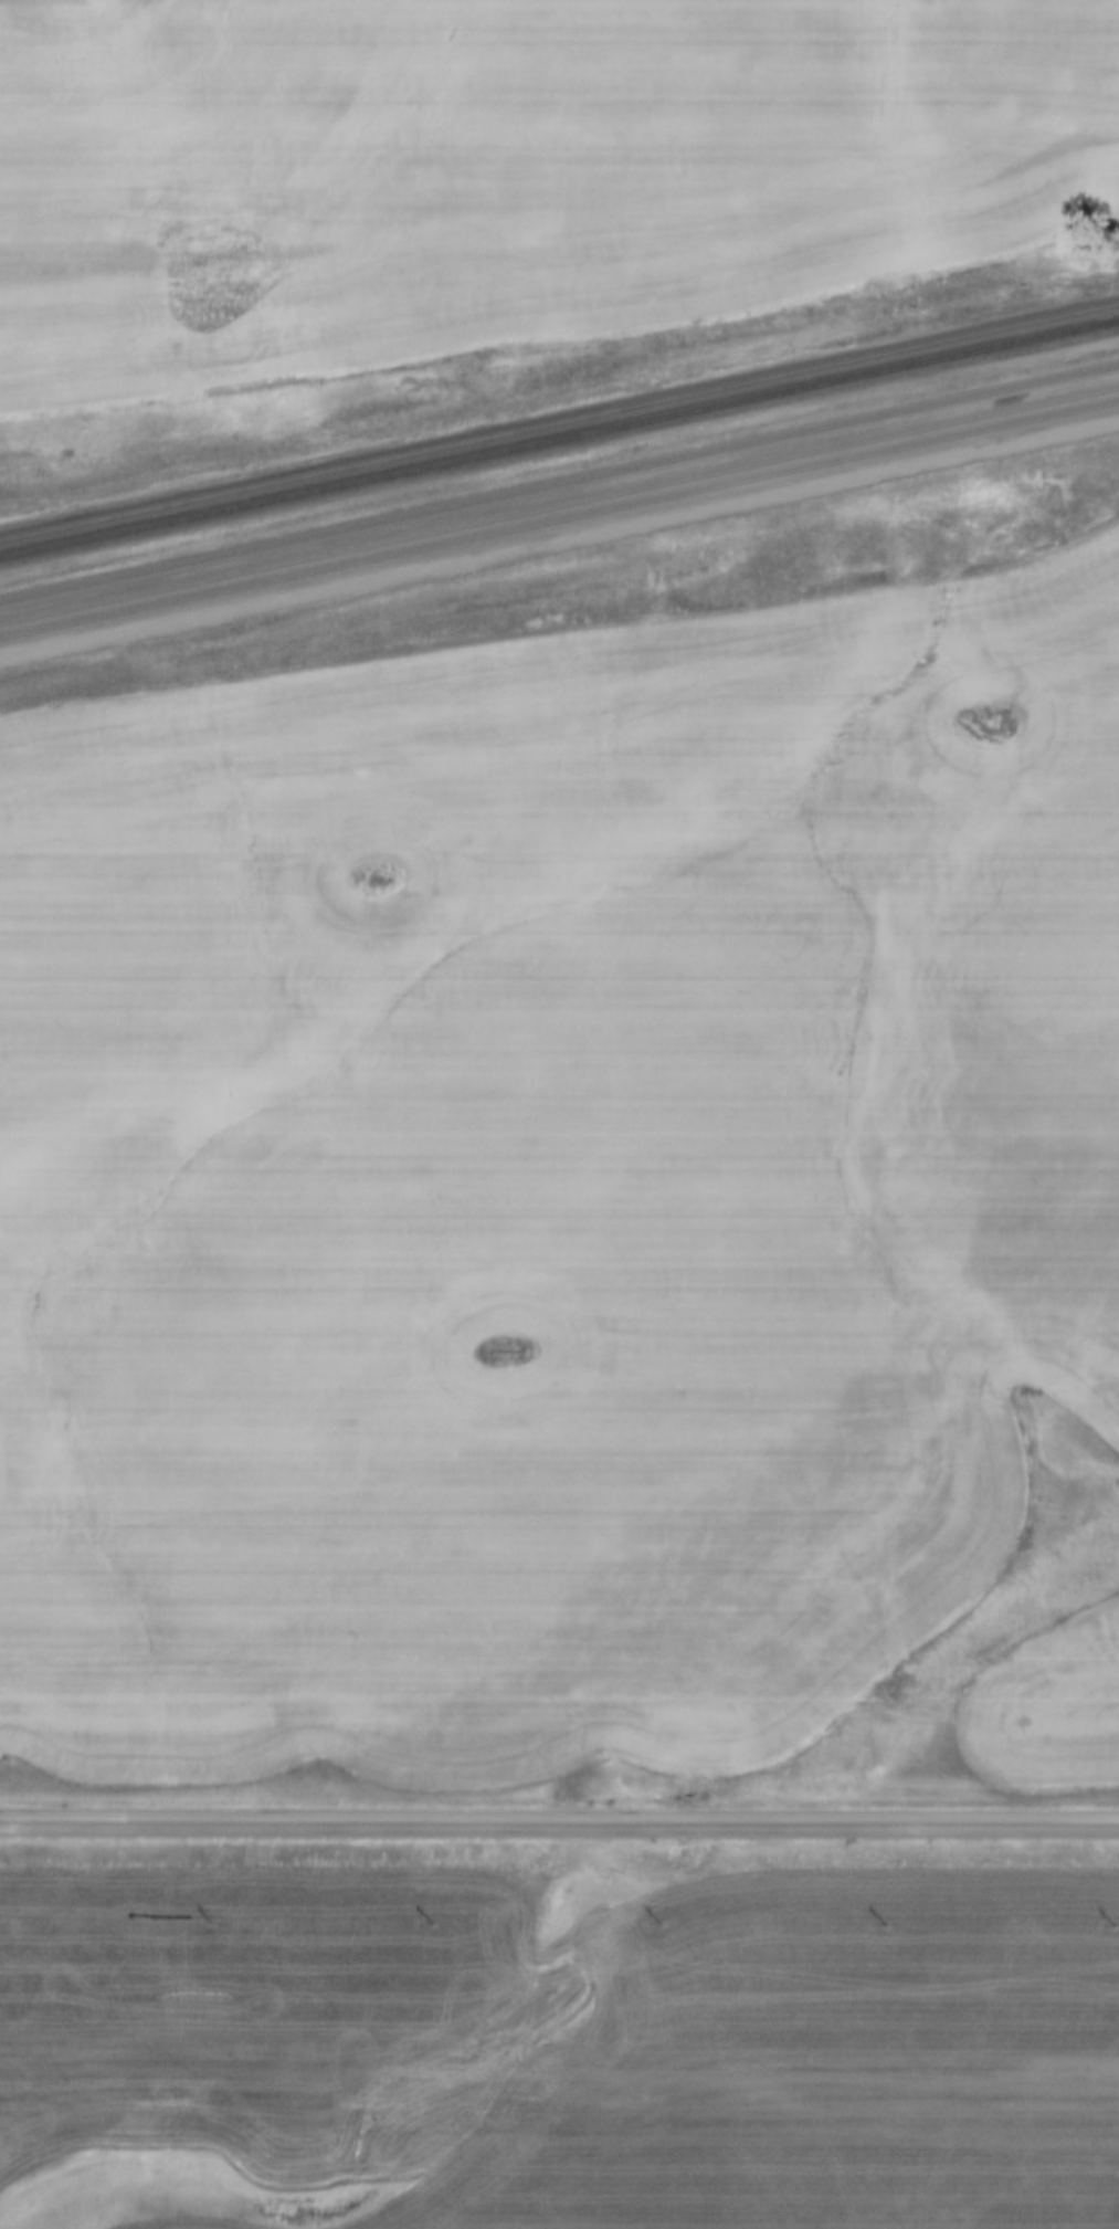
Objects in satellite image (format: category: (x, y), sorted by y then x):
railway: (559, 417)
railway: (559, 435)
railway: (559, 480)
railway: (559, 500)
railway: (559, 518)
road: (559, 1823)

